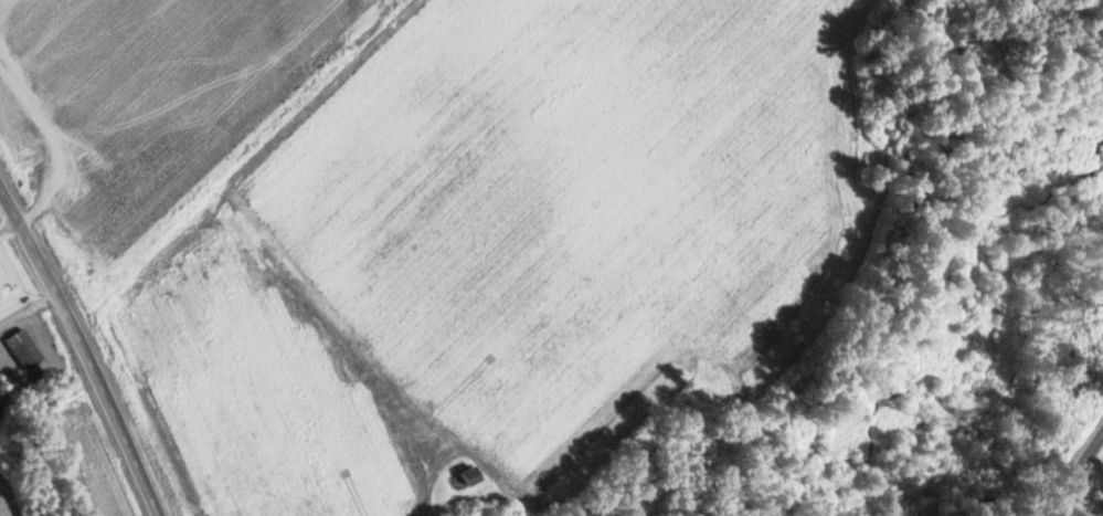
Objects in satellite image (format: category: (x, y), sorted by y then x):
building: (26, 348)
road: (84, 349)
road: (1074, 474)
building: (474, 475)

